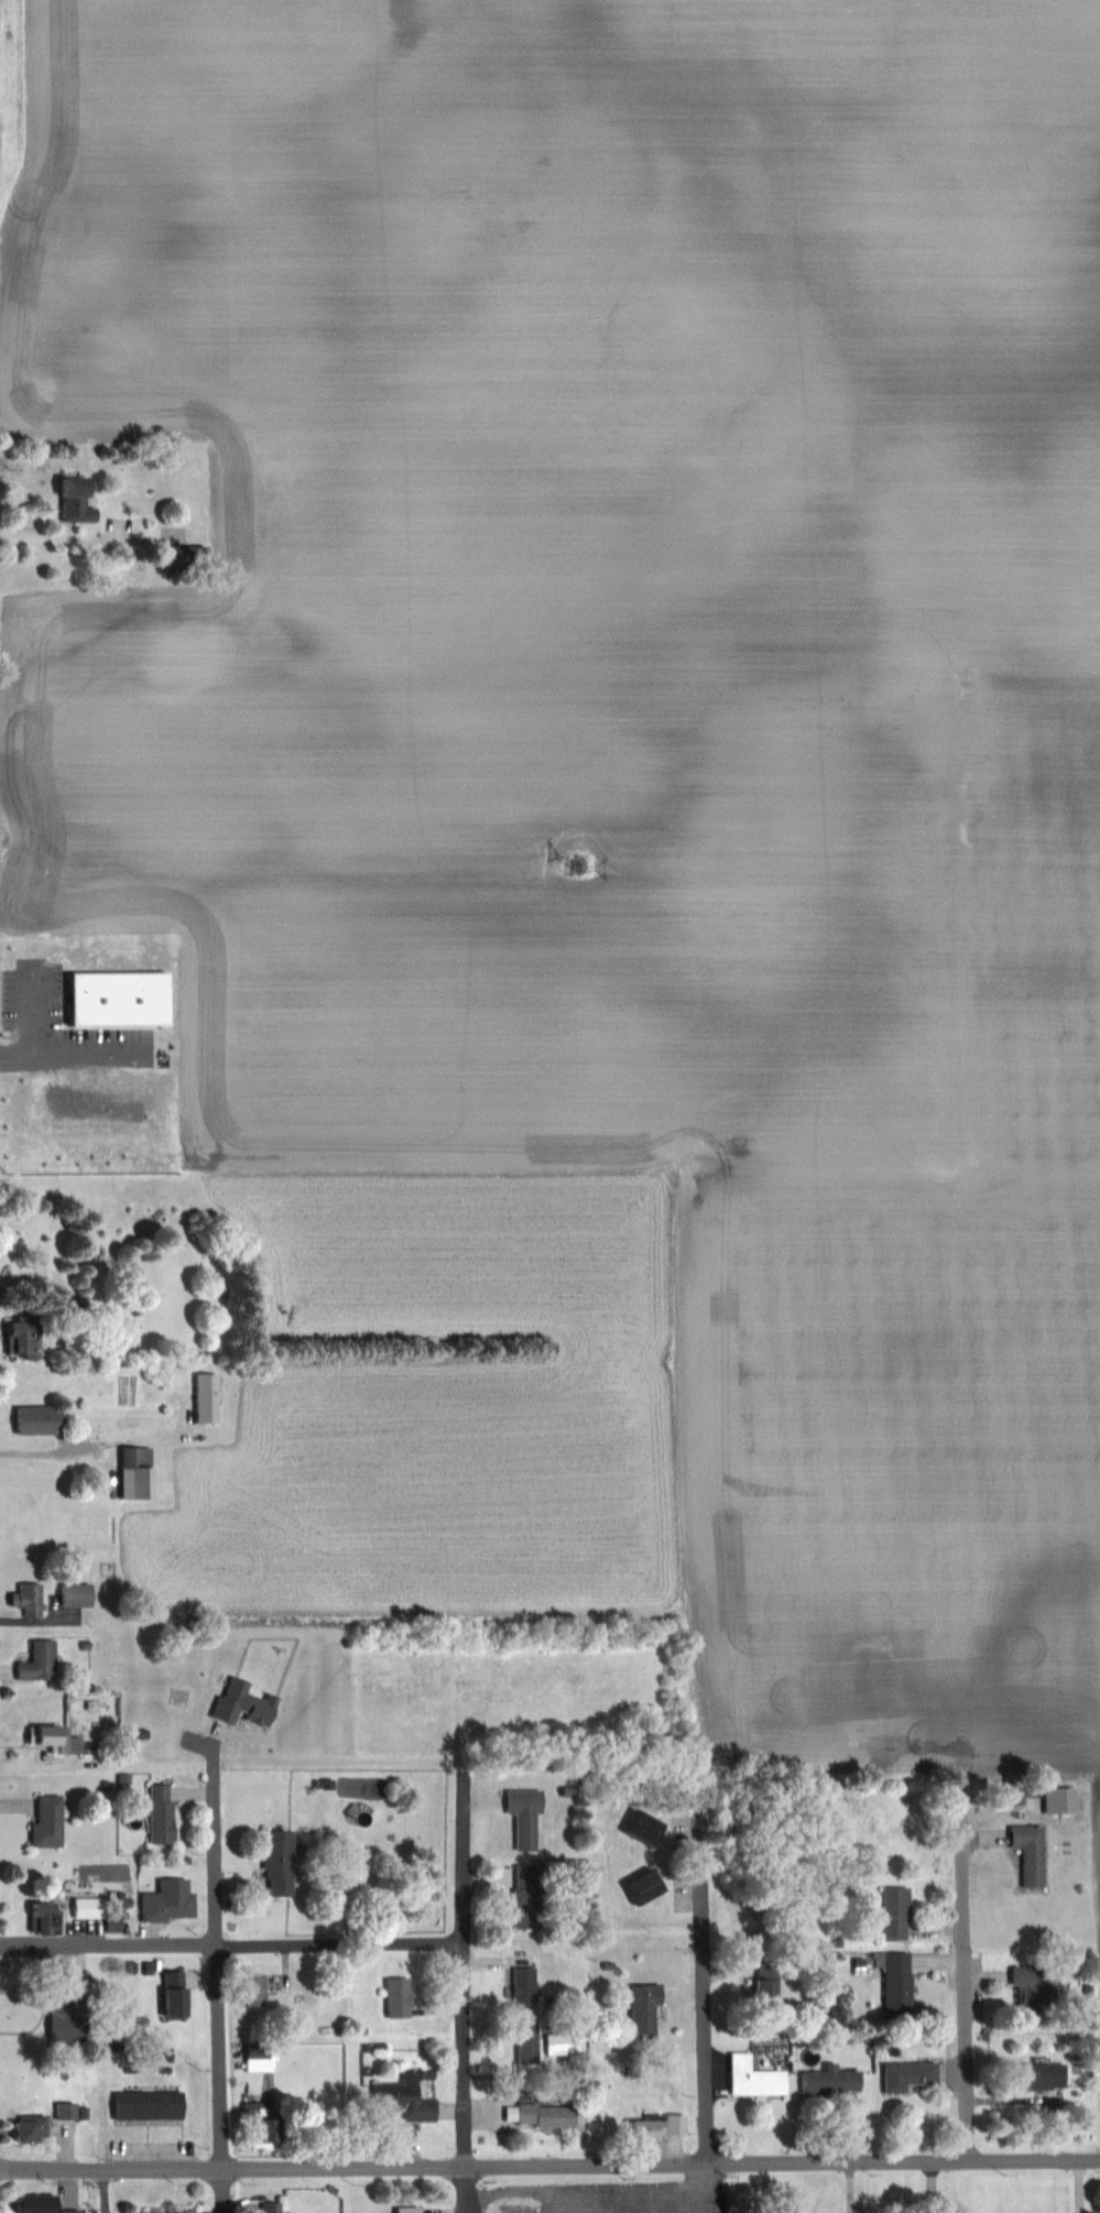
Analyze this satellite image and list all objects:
building: (84, 499)
road: (59, 542)
road: (74, 1054)
building: (19, 1341)
building: (203, 1397)
building: (31, 1419)
road: (48, 1452)
building: (135, 1472)
building: (25, 1599)
building: (35, 1661)
road: (34, 1762)
building: (157, 1813)
building: (521, 1817)
building: (44, 1820)
building: (1026, 1853)
building: (274, 1863)
building: (636, 1886)
building: (165, 1901)
building: (80, 1907)
building: (893, 1914)
road: (232, 1945)
road: (965, 1971)
building: (65, 1982)
building: (894, 1984)
building: (1032, 1984)
building: (521, 1986)
building: (764, 1986)
building: (247, 1989)
building: (170, 1993)
road: (220, 1995)
building: (395, 1996)
road: (465, 1999)
building: (639, 2012)
road: (706, 2012)
building: (524, 2042)
building: (904, 2075)
building: (1036, 2075)
building: (751, 2076)
building: (829, 2080)
building: (406, 2094)
building: (153, 2104)
building: (69, 2110)
building: (545, 2114)
building: (650, 2126)
building: (35, 2127)
road: (549, 2167)
road: (1078, 2187)
road: (520, 2195)
building: (40, 2202)
building: (404, 2209)
building: (163, 2211)

